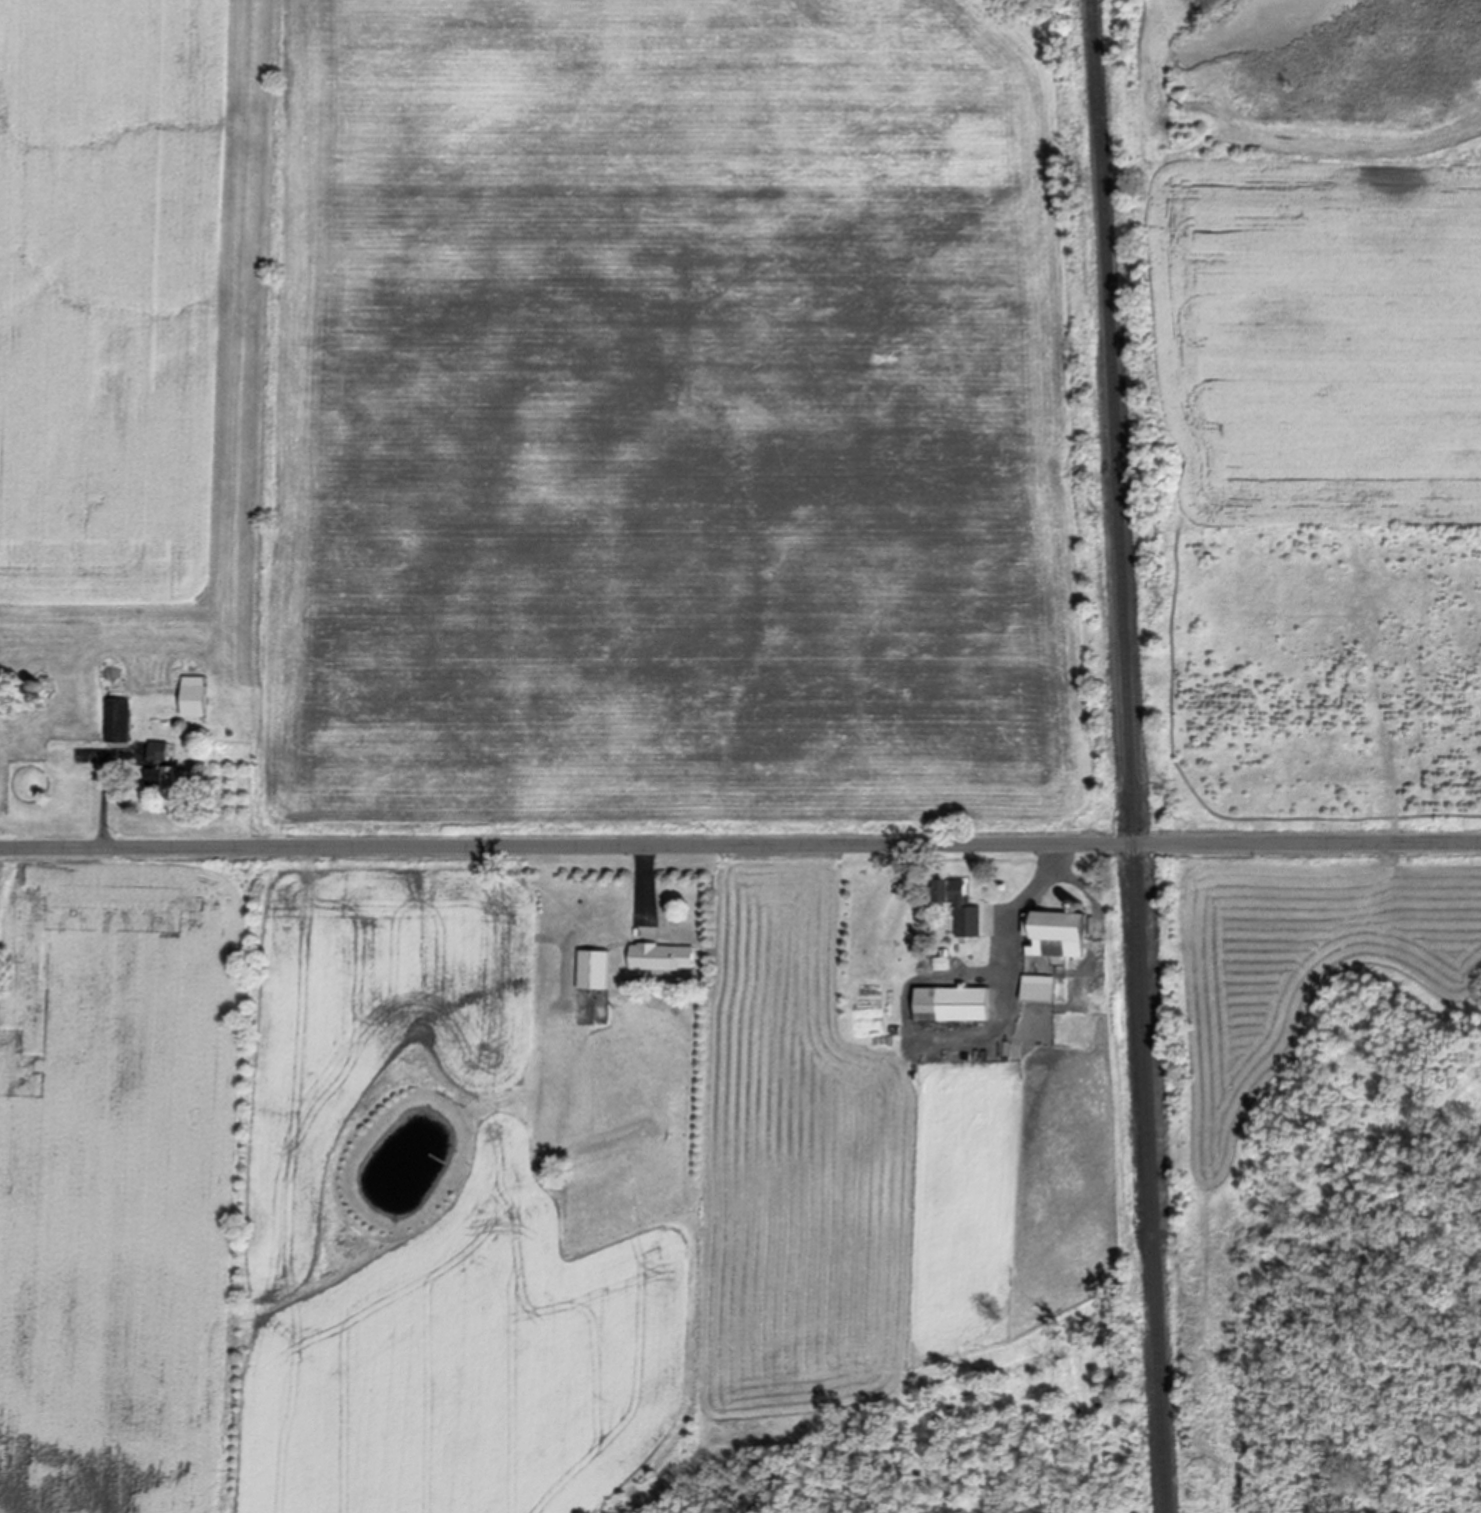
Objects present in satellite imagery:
building: (39, 681)
building: (38, 694)
building: (196, 695)
building: (63, 710)
building: (119, 716)
railway: (1121, 756)
building: (167, 762)
road: (106, 787)
road: (740, 841)
building: (960, 903)
road: (1017, 913)
building: (1058, 928)
building: (663, 953)
building: (943, 958)
building: (595, 965)
building: (1040, 988)
building: (954, 1000)
building: (896, 1028)
building: (1119, 1360)

